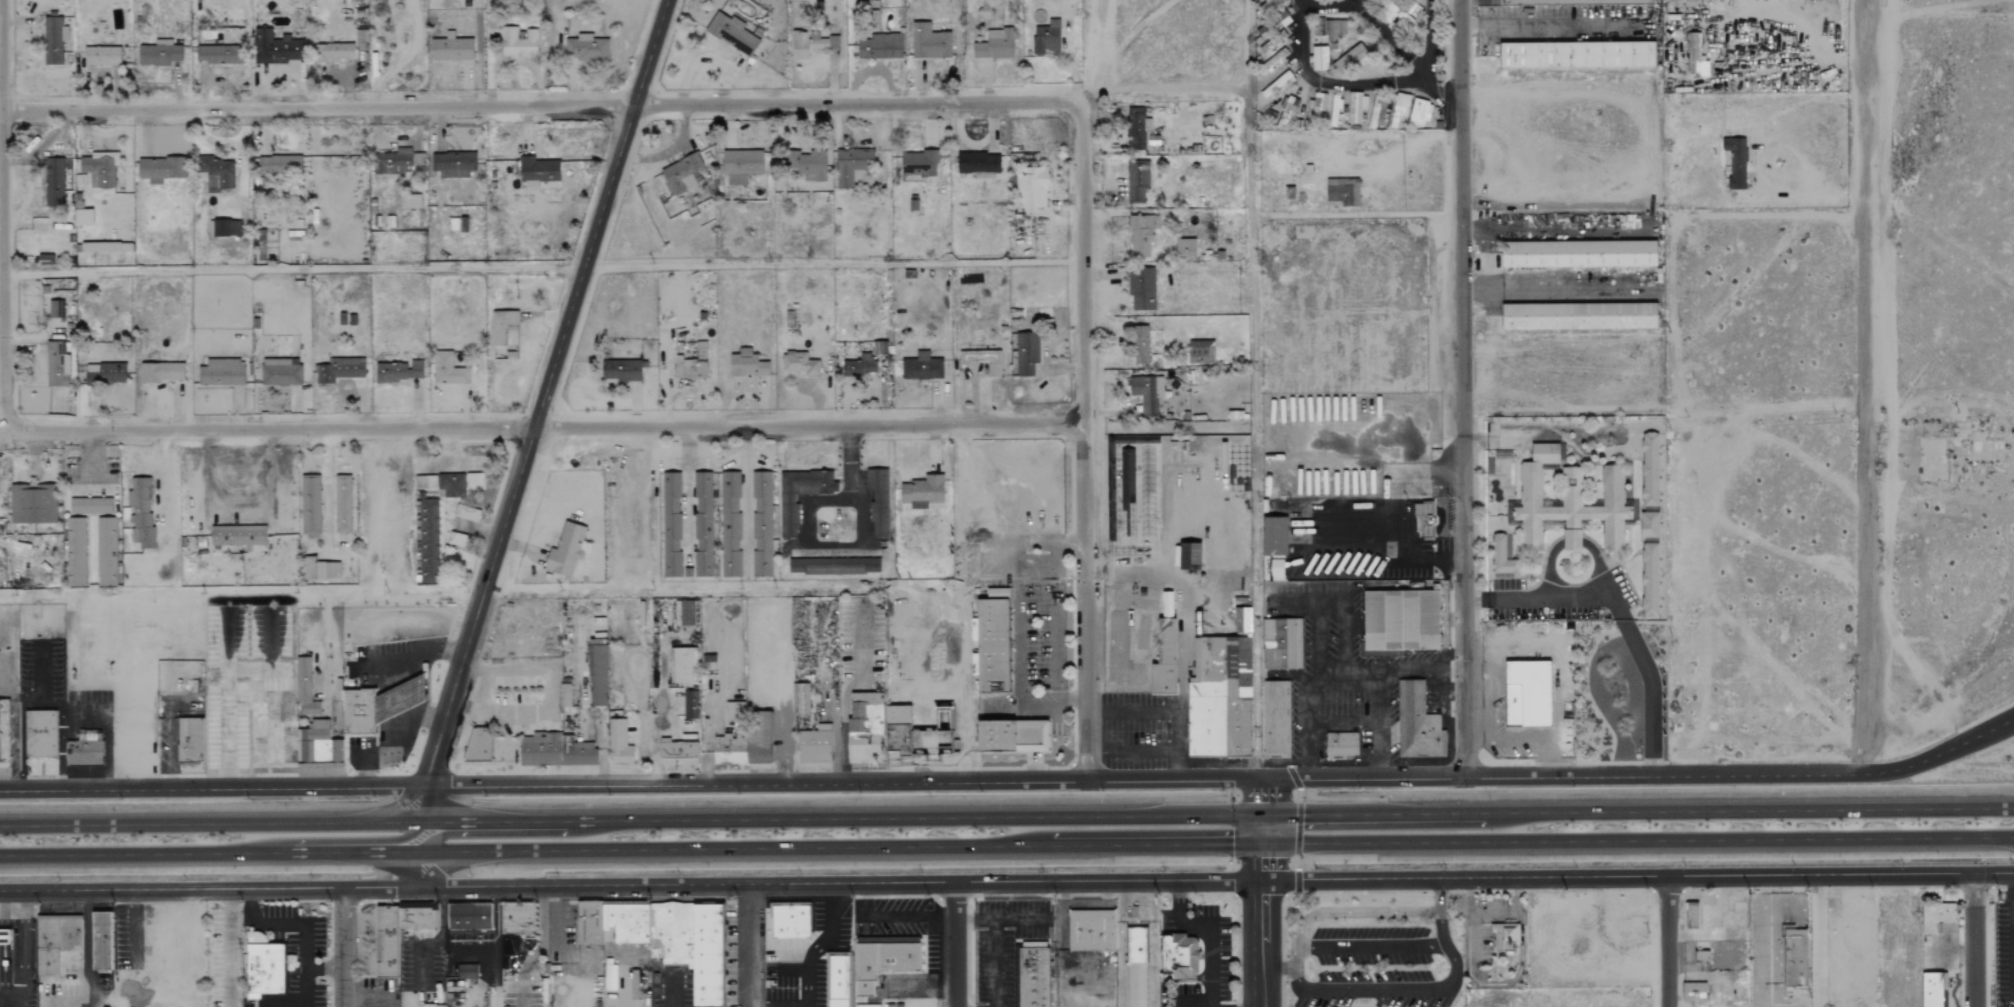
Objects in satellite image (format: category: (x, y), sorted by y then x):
road: (1299, 1)
building: (1573, 1)
road: (1329, 3)
building: (1689, 3)
building: (1268, 7)
road: (1553, 23)
building: (732, 33)
road: (1428, 35)
building: (231, 36)
building: (1047, 39)
road: (1391, 39)
building: (53, 40)
building: (518, 41)
building: (833, 42)
building: (930, 43)
building: (806, 44)
building: (994, 44)
building: (879, 46)
building: (275, 48)
building: (586, 48)
building: (451, 50)
building: (335, 52)
building: (1692, 52)
building: (158, 54)
building: (1578, 54)
building: (218, 55)
building: (101, 56)
building: (1319, 58)
building: (1351, 60)
building: (1701, 68)
road: (1348, 83)
building: (1276, 85)
road: (541, 103)
building: (1356, 107)
building: (1315, 109)
building: (1399, 109)
building: (1287, 112)
building: (1377, 112)
building: (1419, 113)
building: (1137, 129)
road: (1403, 152)
building: (404, 161)
building: (1736, 162)
building: (919, 163)
building: (807, 164)
building: (278, 165)
building: (453, 165)
building: (741, 166)
building: (852, 166)
building: (978, 166)
building: (160, 169)
building: (99, 171)
building: (537, 172)
building: (681, 174)
building: (217, 175)
building: (54, 182)
building: (1137, 182)
building: (1032, 188)
building: (1342, 192)
building: (410, 201)
road: (1, 209)
building: (82, 216)
building: (224, 228)
road: (1540, 231)
building: (1141, 235)
building: (1184, 248)
building: (1580, 254)
road: (291, 270)
building: (1141, 290)
road: (1552, 291)
building: (55, 304)
building: (1580, 316)
building: (501, 325)
building: (1139, 345)
building: (880, 348)
building: (1026, 354)
building: (983, 361)
building: (693, 364)
building: (56, 365)
building: (747, 365)
building: (799, 365)
building: (858, 366)
building: (922, 367)
building: (338, 370)
building: (447, 370)
building: (620, 370)
building: (280, 372)
building: (398, 372)
building: (160, 373)
building: (221, 373)
building: (104, 374)
road: (1866, 387)
road: (1462, 389)
road: (542, 391)
building: (1146, 393)
road: (543, 426)
road: (1083, 440)
building: (1545, 451)
road: (90, 462)
building: (1650, 470)
building: (474, 480)
building: (424, 482)
building: (451, 485)
road: (687, 488)
building: (922, 492)
road: (747, 496)
road: (166, 500)
building: (878, 501)
building: (32, 504)
building: (310, 504)
building: (342, 505)
building: (90, 506)
building: (1572, 506)
building: (138, 514)
building: (466, 514)
building: (788, 517)
building: (762, 524)
building: (671, 525)
building: (703, 525)
building: (729, 525)
building: (1649, 525)
building: (237, 536)
building: (1274, 537)
building: (427, 540)
road: (1572, 542)
road: (855, 545)
road: (1390, 547)
building: (566, 550)
building: (75, 552)
building: (105, 552)
building: (1503, 558)
building: (1190, 559)
building: (834, 566)
road: (1548, 567)
road: (1599, 567)
building: (309, 568)
building: (1277, 569)
building: (328, 571)
building: (1650, 580)
road: (1328, 598)
parking lot: (1557, 600)
building: (688, 613)
road: (1620, 614)
building: (1239, 618)
building: (1401, 621)
road: (859, 646)
building: (992, 646)
building: (1165, 659)
building: (708, 663)
building: (682, 666)
road: (1419, 668)
building: (598, 676)
road: (387, 677)
road: (1341, 677)
building: (304, 688)
building: (1528, 693)
parking lot: (392, 695)
building: (564, 695)
gas station: (401, 698)
building: (1219, 698)
building: (799, 699)
road: (14, 703)
building: (690, 705)
road: (1166, 707)
building: (360, 711)
building: (1276, 720)
building: (1418, 722)
road: (842, 725)
building: (865, 727)
building: (4, 733)
building: (40, 734)
road: (59, 734)
building: (1013, 736)
building: (757, 738)
building: (189, 741)
building: (618, 744)
building: (814, 745)
building: (1341, 745)
building: (85, 750)
road: (1129, 750)
building: (555, 751)
building: (677, 753)
road: (375, 754)
road: (1943, 754)
road: (1565, 777)
road: (844, 781)
road: (212, 787)
road: (1263, 797)
road: (423, 803)
road: (1638, 808)
traffic signals: (1263, 815)
road: (842, 818)
road: (211, 823)
road: (1262, 829)
road: (445, 832)
road: (1637, 839)
road: (394, 840)
traffic signals: (1262, 843)
road: (1155, 844)
road: (734, 849)
road: (333, 852)
road: (123, 853)
road: (421, 870)
road: (1638, 877)
road: (630, 885)
road: (1469, 897)
road: (1796, 909)
road: (1356, 912)
building: (470, 915)
road: (1512, 915)
road: (881, 916)
building: (1937, 916)
building: (1692, 917)
road: (1001, 918)
building: (790, 920)
building: (518, 922)
road: (261, 924)
road: (1200, 924)
road: (1261, 924)
road: (141, 925)
building: (1092, 930)
building: (5, 936)
building: (665, 938)
road: (1472, 939)
building: (102, 940)
road: (1975, 940)
road: (1816, 941)
road: (1668, 942)
building: (55, 944)
parking lot: (1002, 944)
road: (750, 945)
road: (956, 945)
road: (1764, 945)
road: (307, 946)
building: (390, 946)
road: (1371, 946)
road: (343, 947)
road: (231, 948)
road: (21, 949)
road: (87, 949)
building: (1180, 955)
building: (1507, 955)
building: (886, 958)
road: (1295, 958)
building: (1795, 958)
road: (993, 962)
building: (1137, 965)
road: (1275, 967)
building: (266, 968)
road: (325, 968)
parking lot: (1373, 968)
road: (806, 969)
building: (467, 971)
building: (1034, 976)
road: (1174, 978)
building: (839, 980)
road: (307, 985)
building: (1933, 988)
road: (1419, 989)
road: (668, 990)
building: (1694, 991)
road: (1211, 992)
road: (64, 1002)
road: (284, 1003)
building: (429, 1005)

